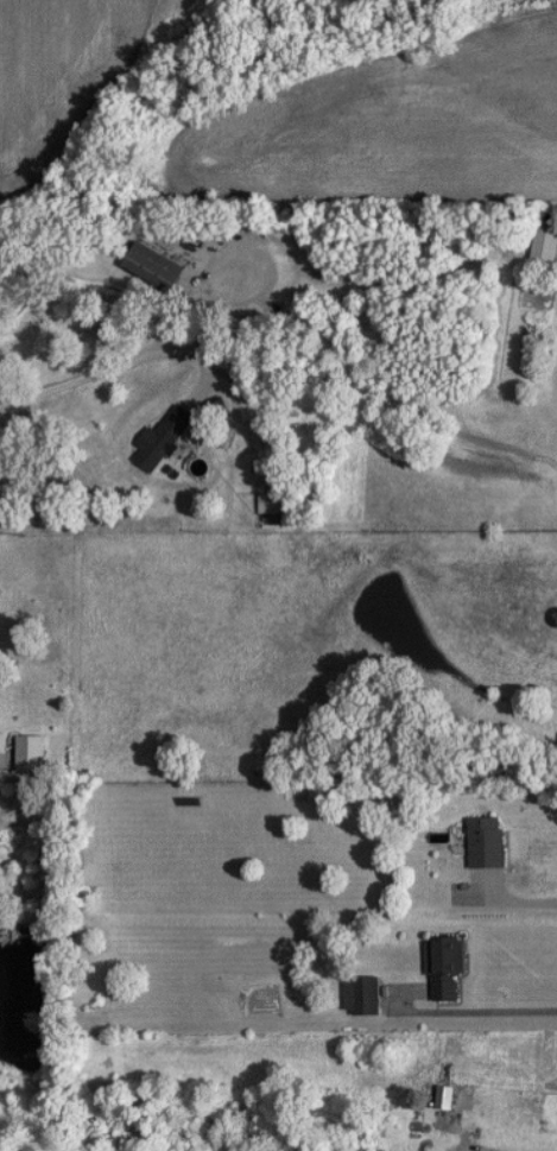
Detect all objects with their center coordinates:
building: (545, 247)
building: (154, 267)
road: (192, 283)
building: (163, 436)
building: (270, 504)
building: (486, 843)
road: (518, 891)
building: (447, 969)
building: (362, 997)
road: (488, 1000)
building: (445, 1099)

